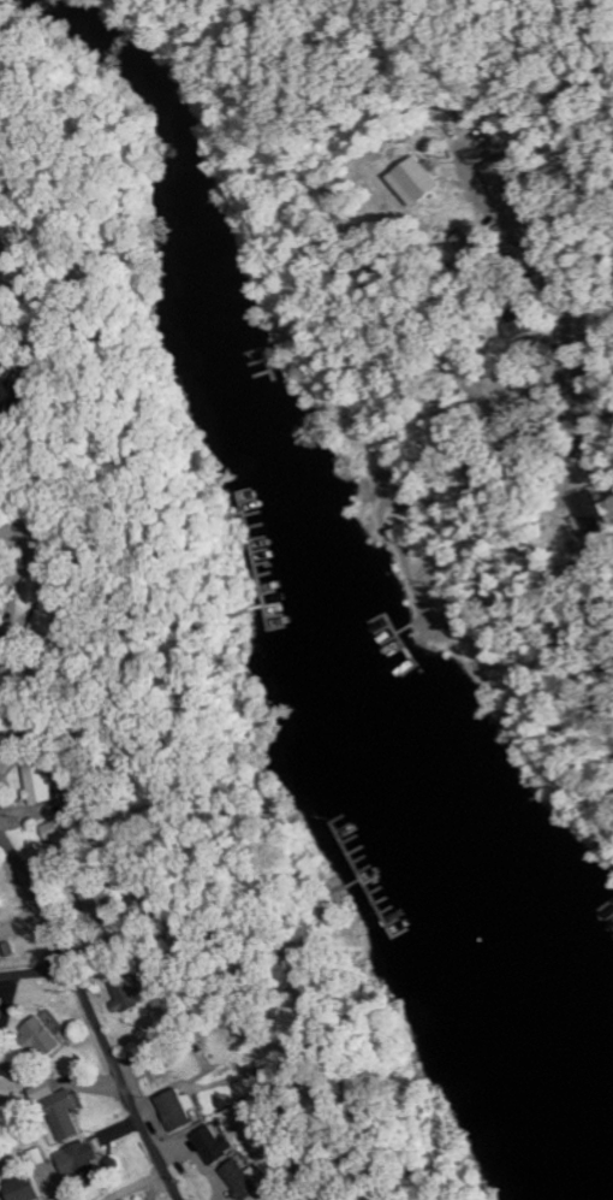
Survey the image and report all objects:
building: (496, 177)
building: (416, 179)
building: (14, 395)
building: (589, 509)
building: (44, 562)
building: (46, 616)
building: (18, 728)
building: (38, 780)
building: (60, 833)
road: (12, 851)
road: (46, 912)
road: (36, 969)
building: (131, 993)
building: (42, 1040)
building: (13, 1054)
building: (2, 1058)
road: (127, 1082)
building: (180, 1110)
building: (60, 1111)
building: (218, 1145)
building: (81, 1160)
building: (243, 1180)

